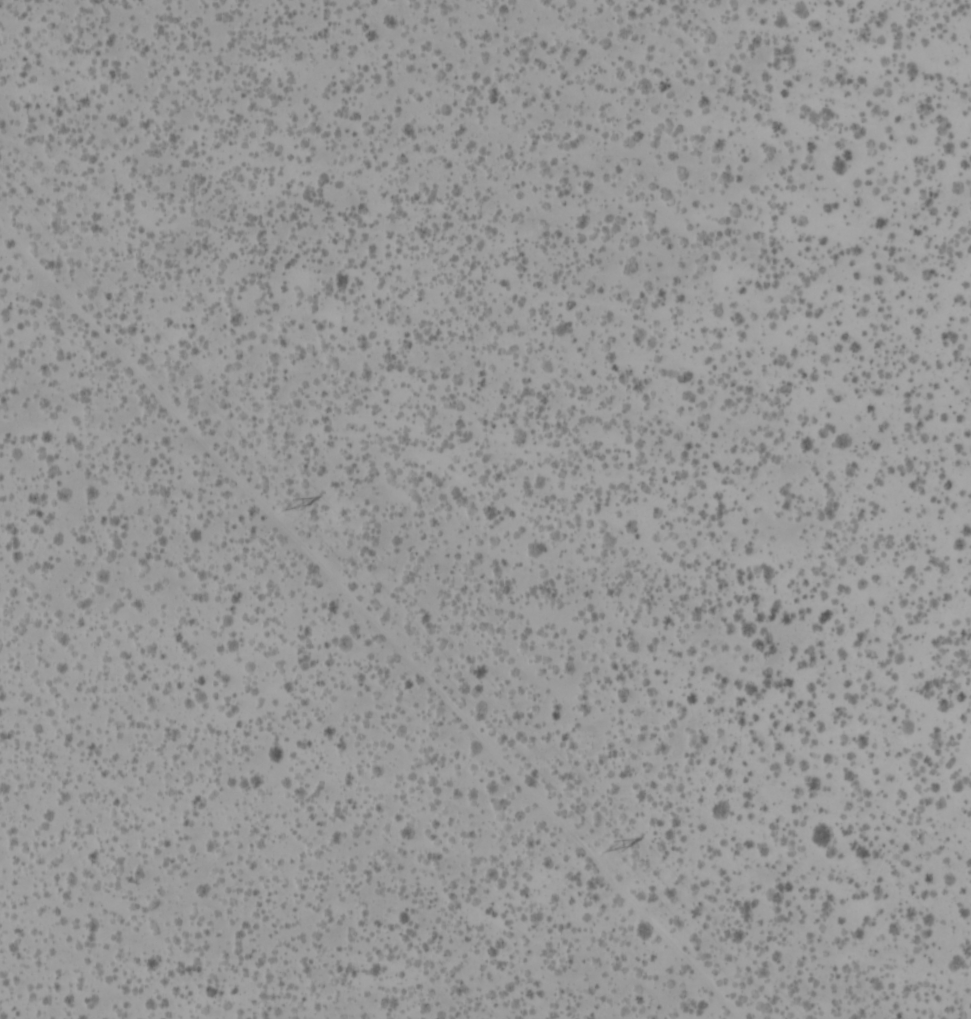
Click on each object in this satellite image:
power tower: (285, 503)
road: (374, 620)
power tower: (606, 845)

